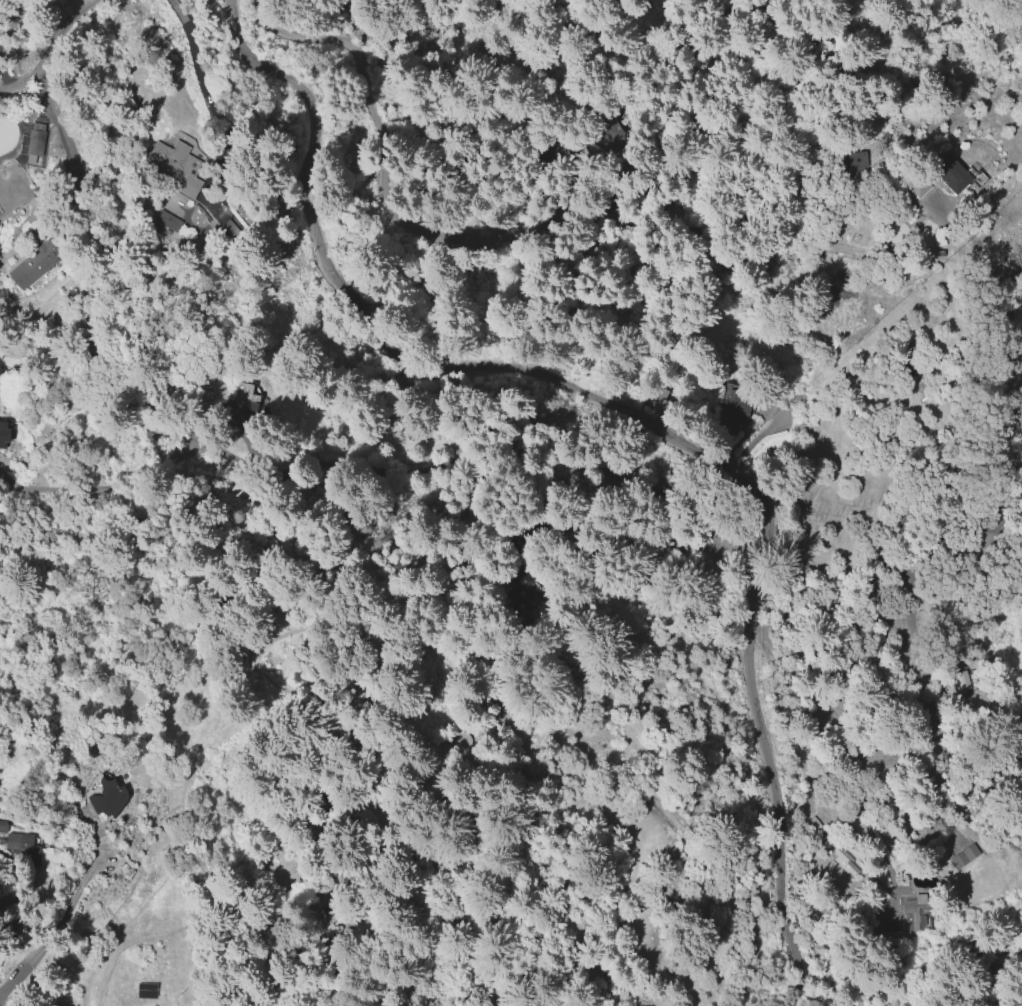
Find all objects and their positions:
road: (53, 49)
building: (176, 165)
building: (954, 175)
road: (486, 243)
building: (34, 264)
road: (638, 425)
building: (3, 433)
road: (394, 451)
road: (412, 595)
road: (844, 758)
building: (108, 797)
building: (18, 843)
building: (842, 860)
road: (60, 911)
road: (458, 980)
road: (1, 1004)

